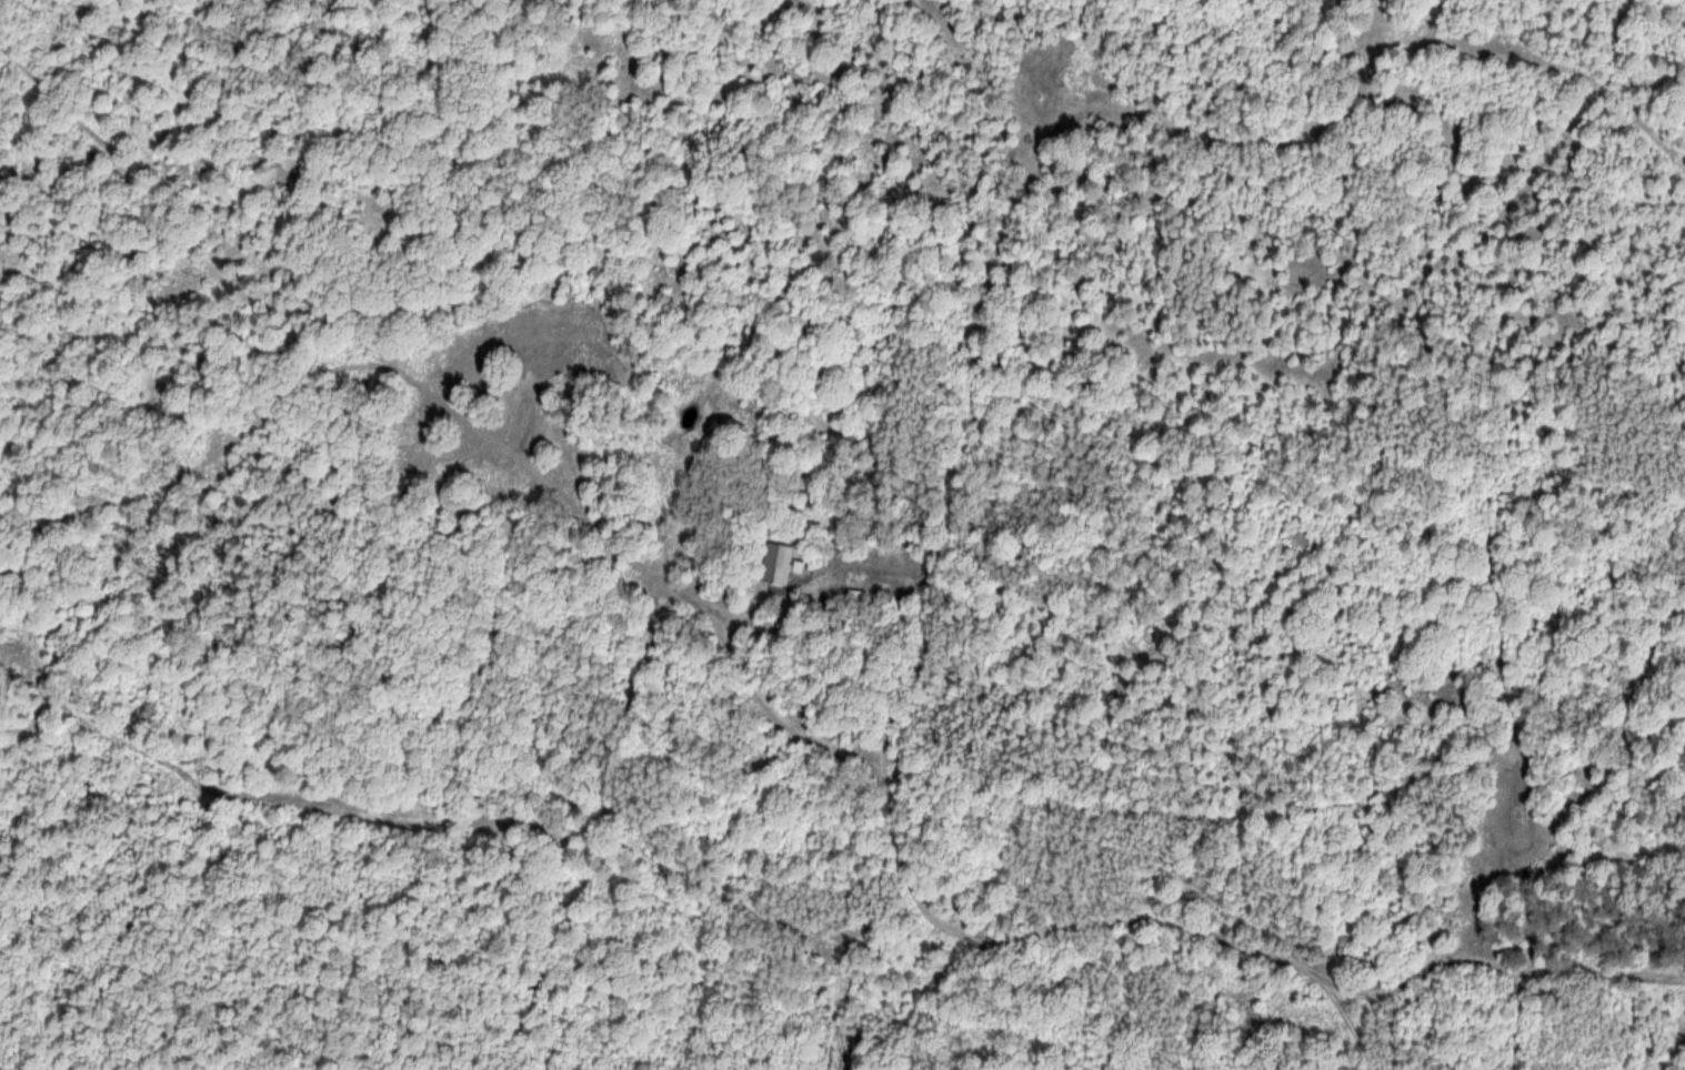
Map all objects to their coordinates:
building: (859, 584)
road: (1102, 920)

